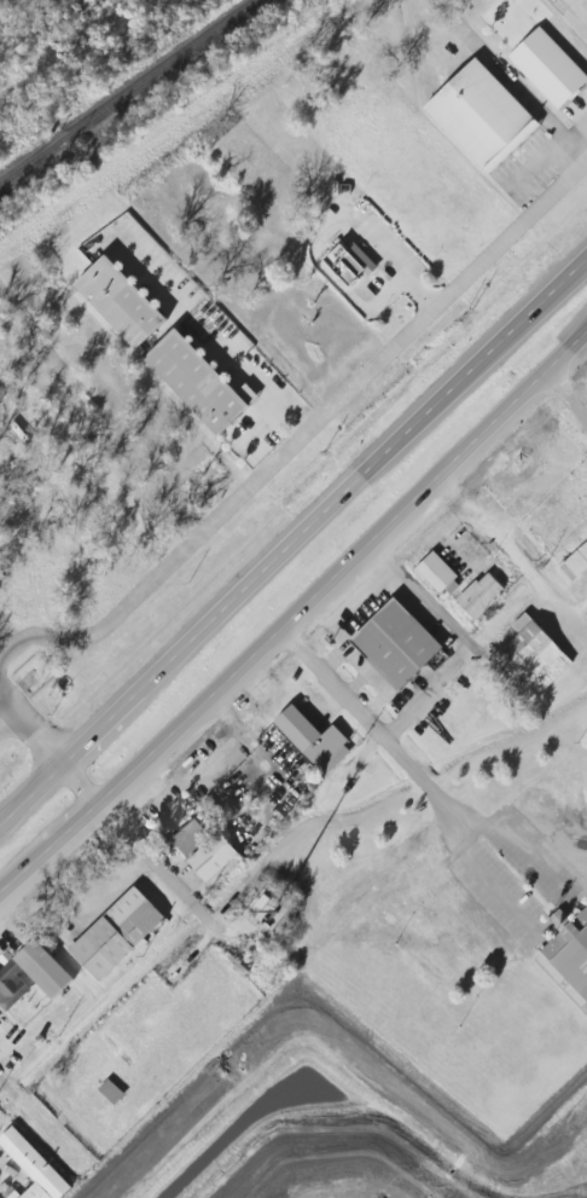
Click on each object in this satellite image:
road: (574, 13)
road: (565, 42)
building: (548, 65)
road: (519, 91)
railway: (130, 93)
building: (480, 114)
road: (537, 167)
building: (350, 262)
road: (390, 264)
road: (339, 284)
road: (217, 336)
building: (163, 347)
road: (568, 398)
road: (260, 427)
road: (301, 436)
road: (362, 475)
road: (515, 555)
building: (574, 565)
road: (343, 572)
building: (440, 574)
building: (482, 596)
road: (420, 601)
road: (579, 608)
building: (396, 643)
building: (536, 653)
road: (426, 696)
road: (7, 718)
road: (372, 727)
road: (100, 729)
road: (30, 730)
building: (314, 740)
road: (81, 785)
road: (30, 795)
building: (227, 811)
road: (68, 834)
building: (191, 837)
building: (213, 856)
road: (169, 878)
road: (18, 880)
road: (563, 918)
building: (117, 934)
building: (571, 953)
building: (12, 984)
road: (5, 1086)
building: (111, 1092)
building: (35, 1167)
building: (11, 1194)

